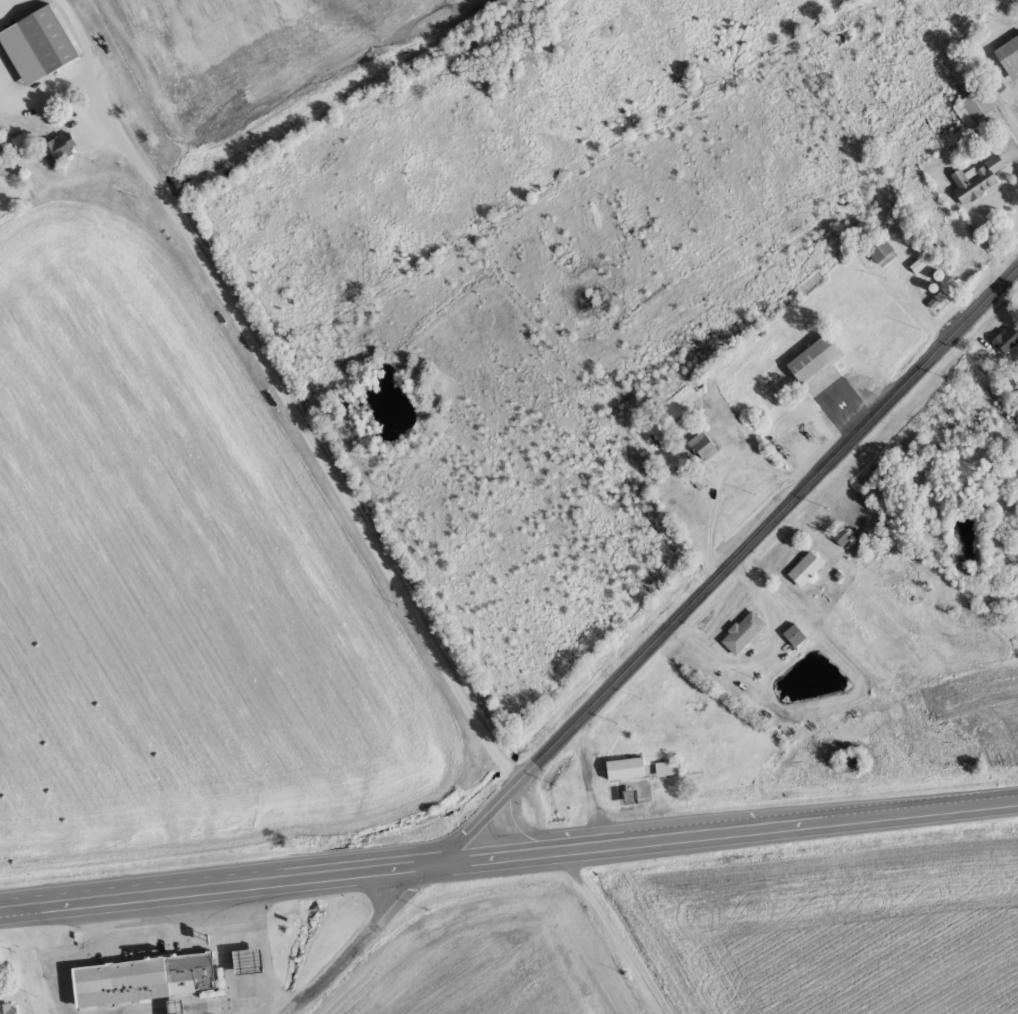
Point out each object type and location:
building: (40, 45)
building: (1010, 57)
building: (976, 108)
building: (61, 149)
building: (978, 180)
building: (882, 250)
building: (920, 266)
building: (1007, 340)
building: (815, 359)
building: (685, 423)
building: (705, 446)
road: (363, 505)
building: (843, 537)
road: (728, 569)
building: (807, 569)
building: (745, 634)
building: (627, 768)
road: (508, 851)
road: (371, 940)
building: (146, 979)
building: (9, 1009)

